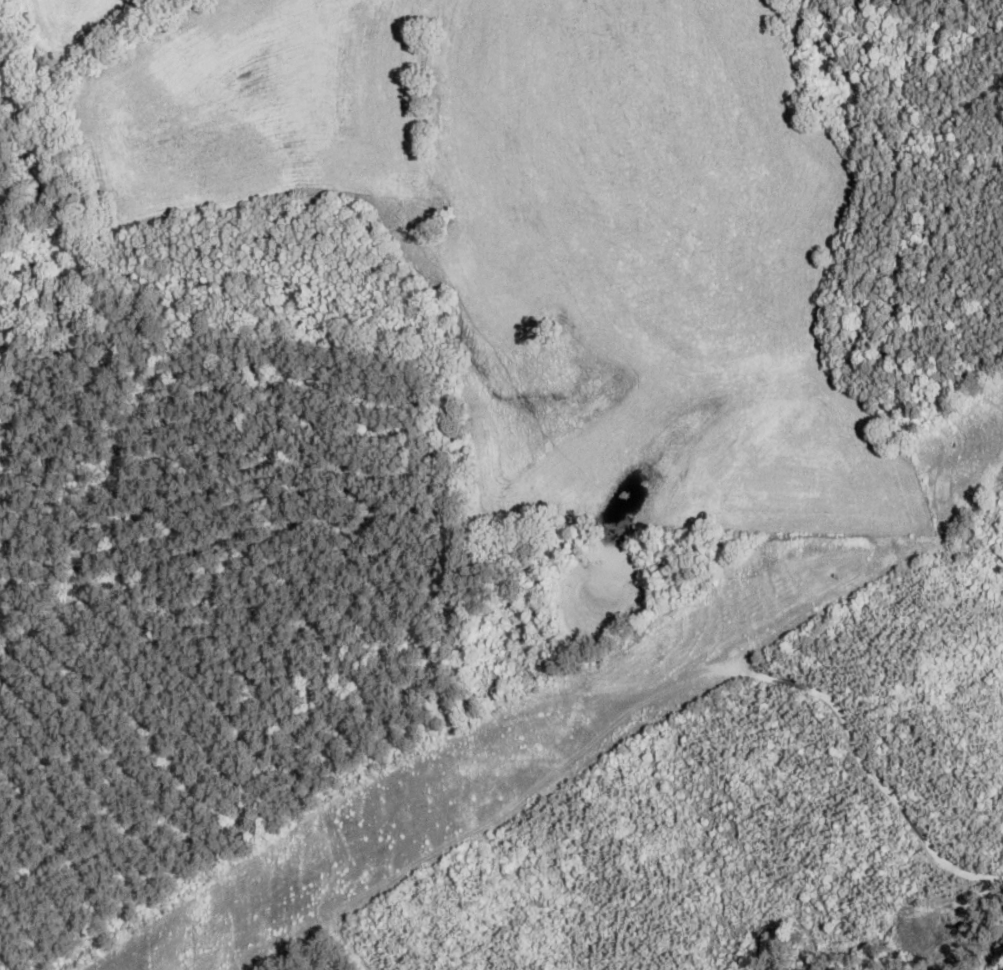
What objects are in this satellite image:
road: (800, 684)

